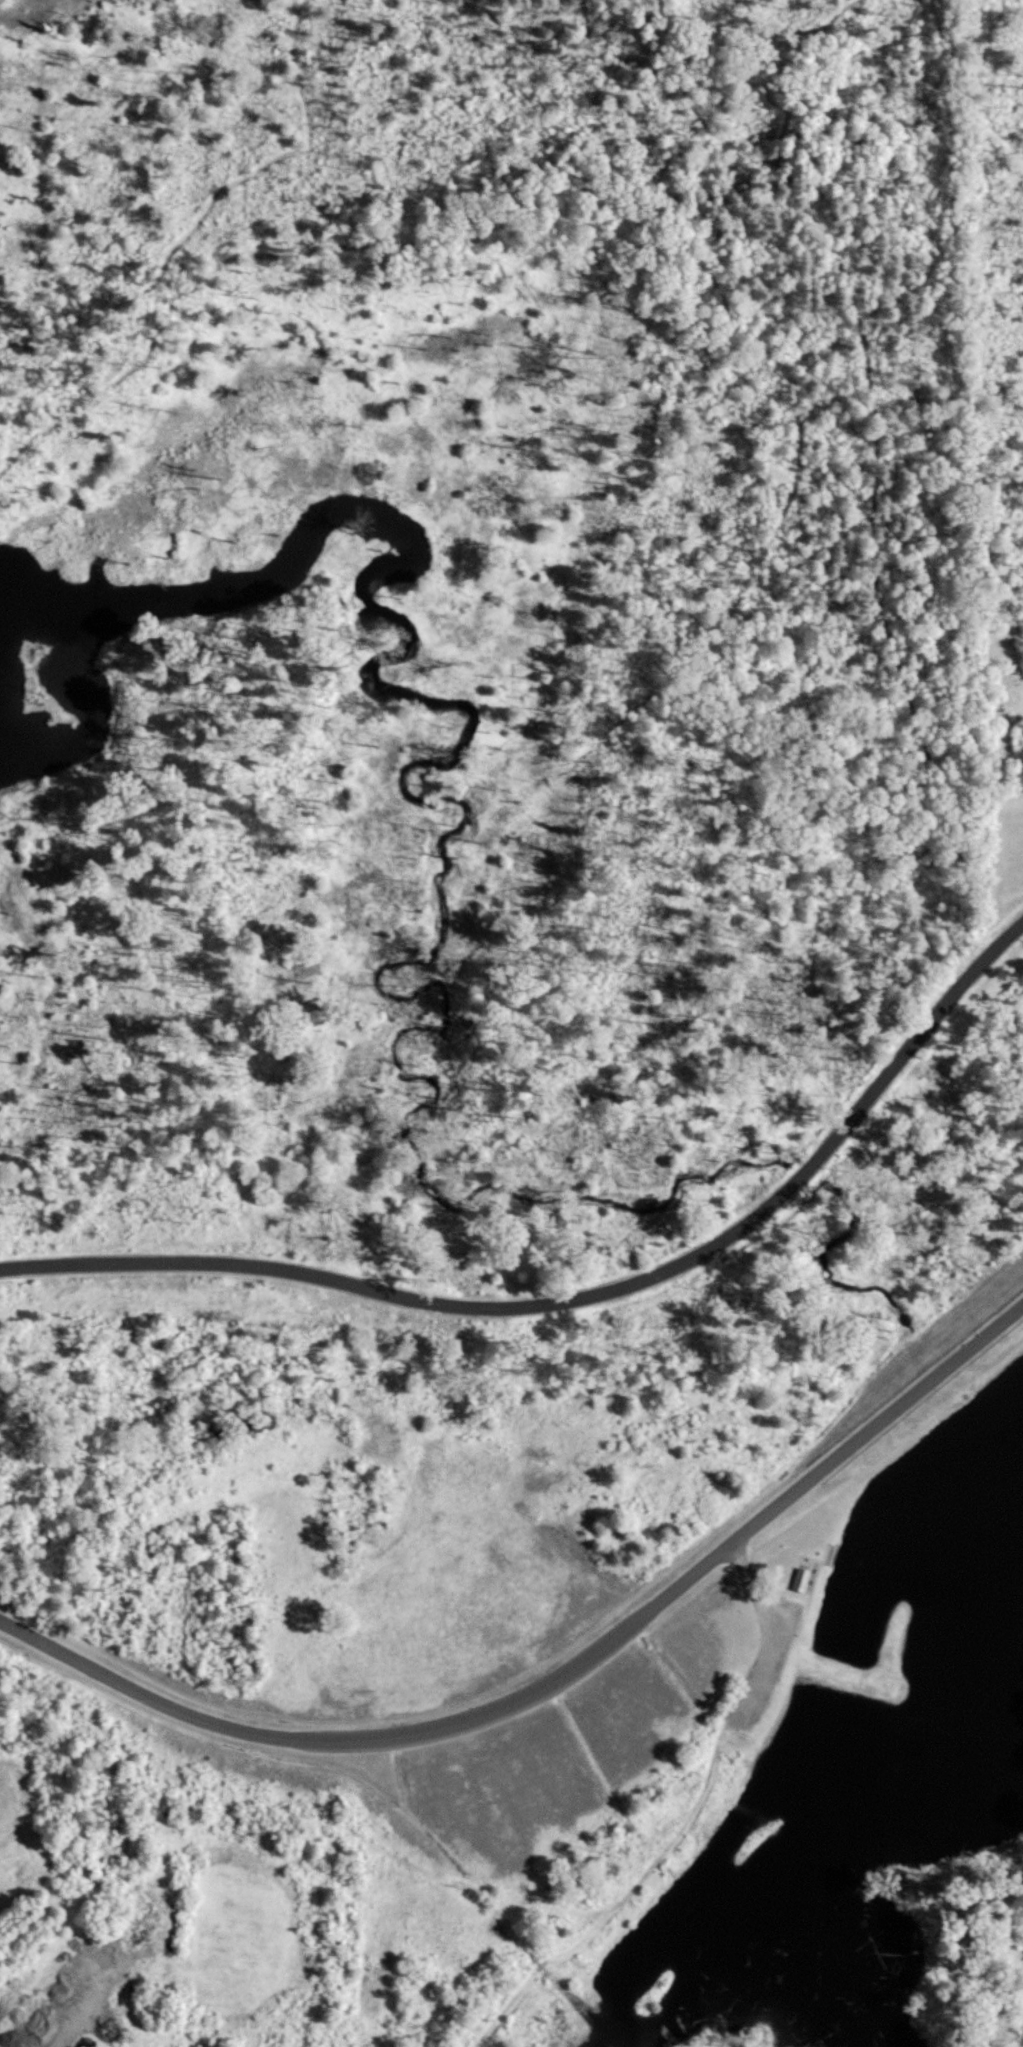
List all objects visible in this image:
road: (834, 9)
road: (277, 153)
road: (665, 239)
road: (1006, 292)
road: (14, 340)
road: (924, 1024)
road: (801, 1170)
road: (395, 1294)
building: (800, 1578)
parking lot: (787, 1616)
road: (770, 1633)
road: (559, 1678)
parking lot: (756, 1698)
crop: (21, 1834)
road: (618, 1900)
road: (625, 1907)
road: (625, 1919)
road: (88, 2003)

